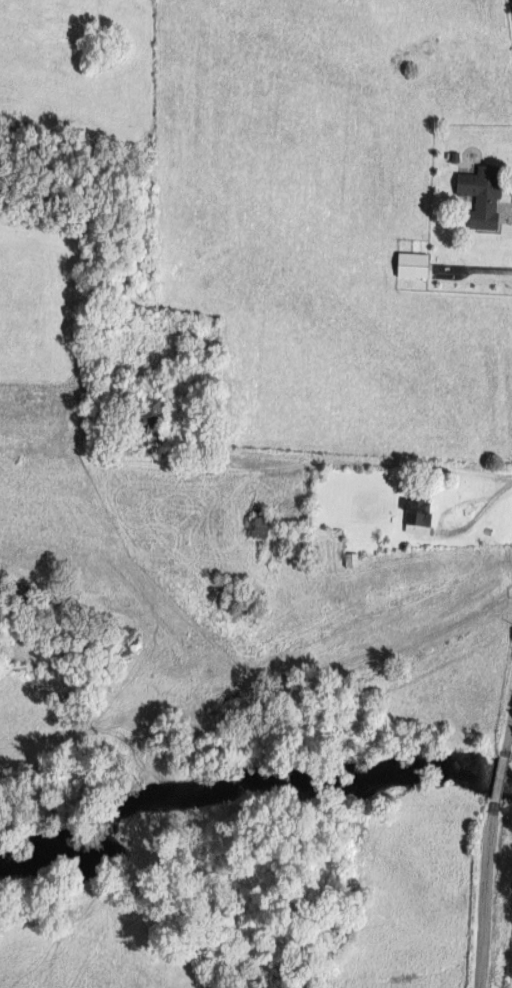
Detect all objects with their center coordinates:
building: (480, 195)
building: (411, 264)
road: (478, 265)
building: (151, 408)
road: (344, 460)
building: (416, 516)
road: (489, 857)

